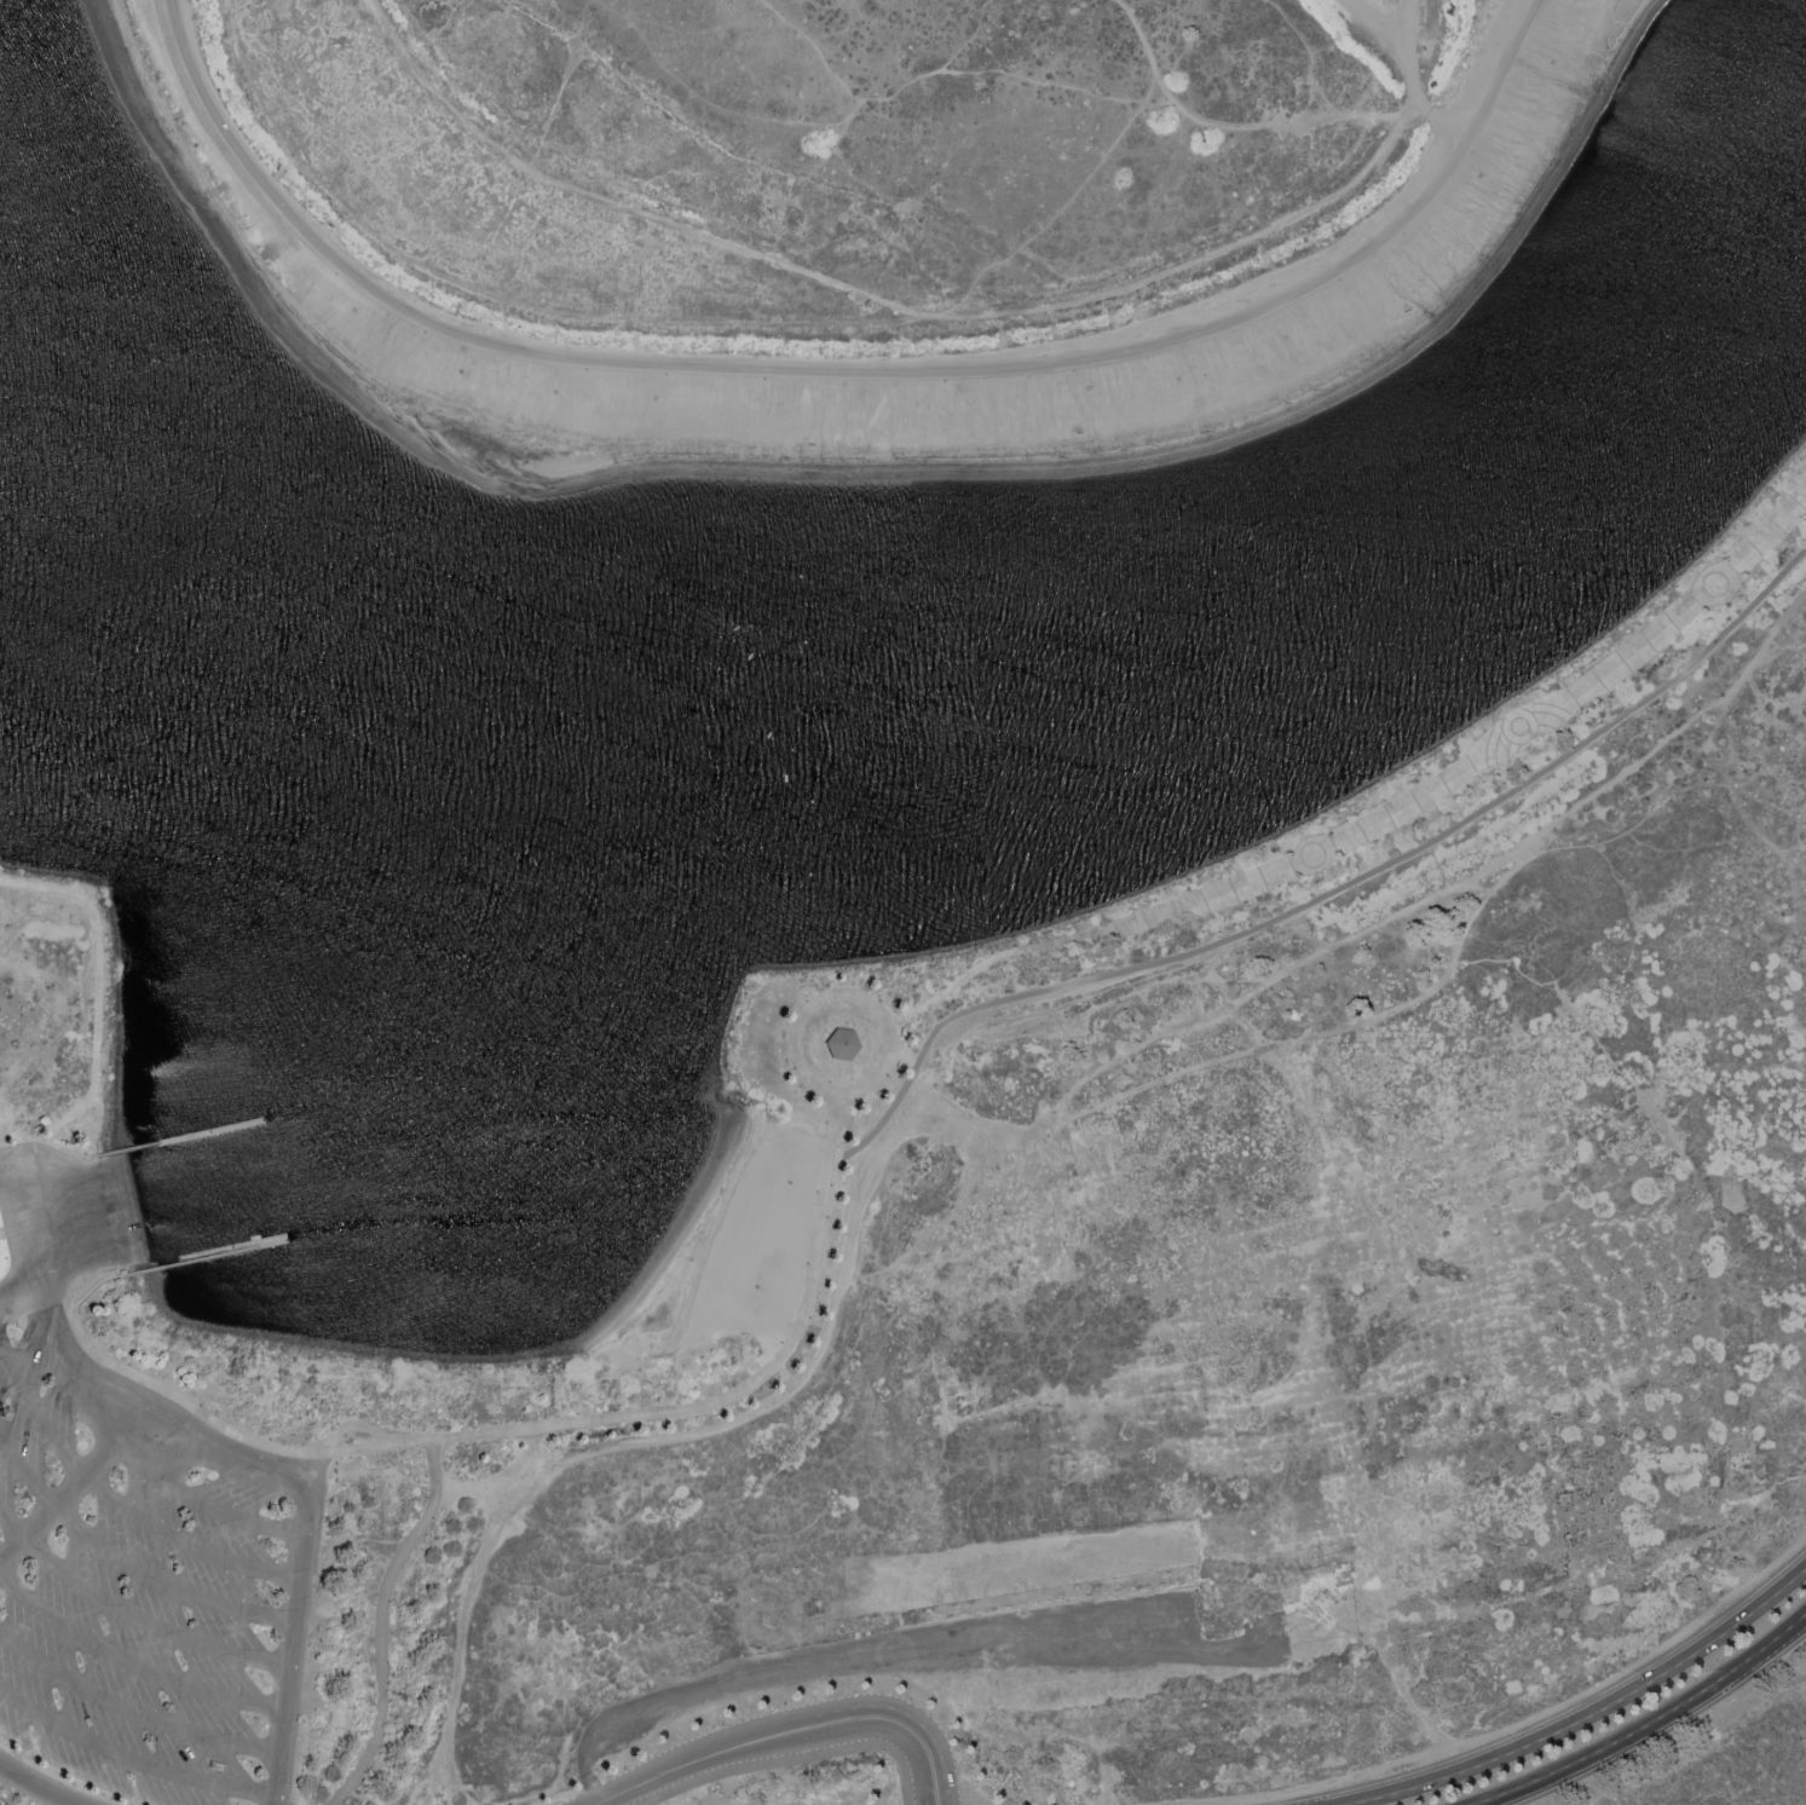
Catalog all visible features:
road: (869, 104)
road: (1446, 121)
road: (749, 158)
road: (1085, 180)
park: (860, 196)
road: (1033, 312)
road: (848, 373)
road: (1383, 817)
road: (1326, 896)
road: (1305, 933)
road: (1217, 979)
road: (1280, 979)
road: (1420, 1003)
road: (94, 1013)
road: (1245, 1032)
building: (841, 1044)
road: (797, 1065)
road: (829, 1126)
pier: (213, 1132)
pier: (213, 1134)
road: (23, 1138)
pier: (127, 1152)
road: (70, 1233)
pier: (235, 1251)
pier: (192, 1262)
road: (88, 1296)
road: (22, 1297)
road: (106, 1388)
road: (709, 1399)
road: (745, 1417)
road: (231, 1430)
road: (533, 1451)
road: (119, 1505)
road: (201, 1506)
road: (304, 1556)
road: (129, 1568)
parking lot: (148, 1582)
airport runway: (852, 1608)
road: (131, 1619)
road: (374, 1620)
road: (457, 1645)
parking lot: (1046, 1649)
road: (1225, 1654)
road: (132, 1667)
road: (804, 1672)
road: (1577, 1714)
road: (131, 1717)
road: (1652, 1724)
road: (1513, 1725)
road: (791, 1734)
road: (791, 1759)
road: (131, 1761)
road: (37, 1786)
parking lot: (5, 1801)
road: (275, 1801)

